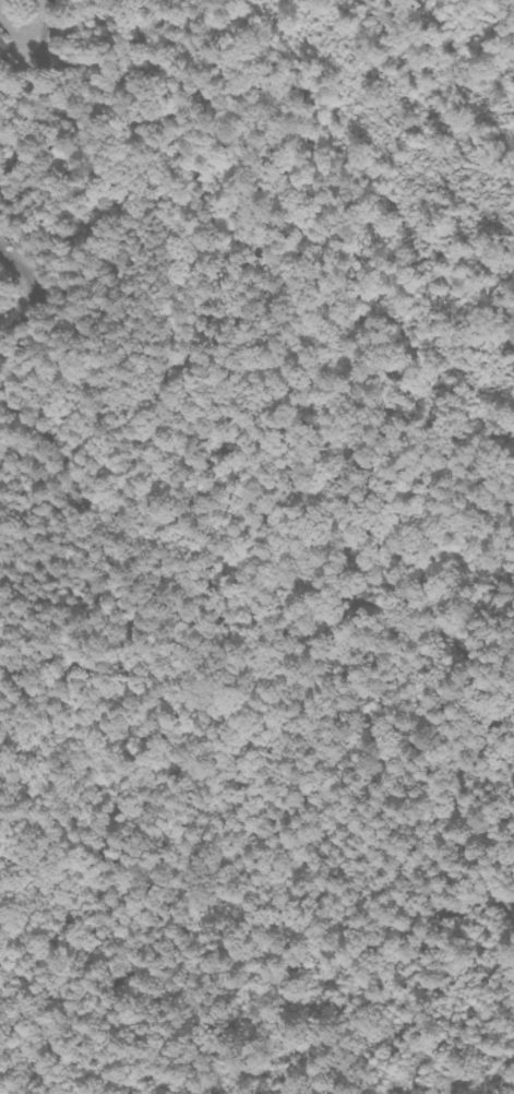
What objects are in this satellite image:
road: (25, 85)

